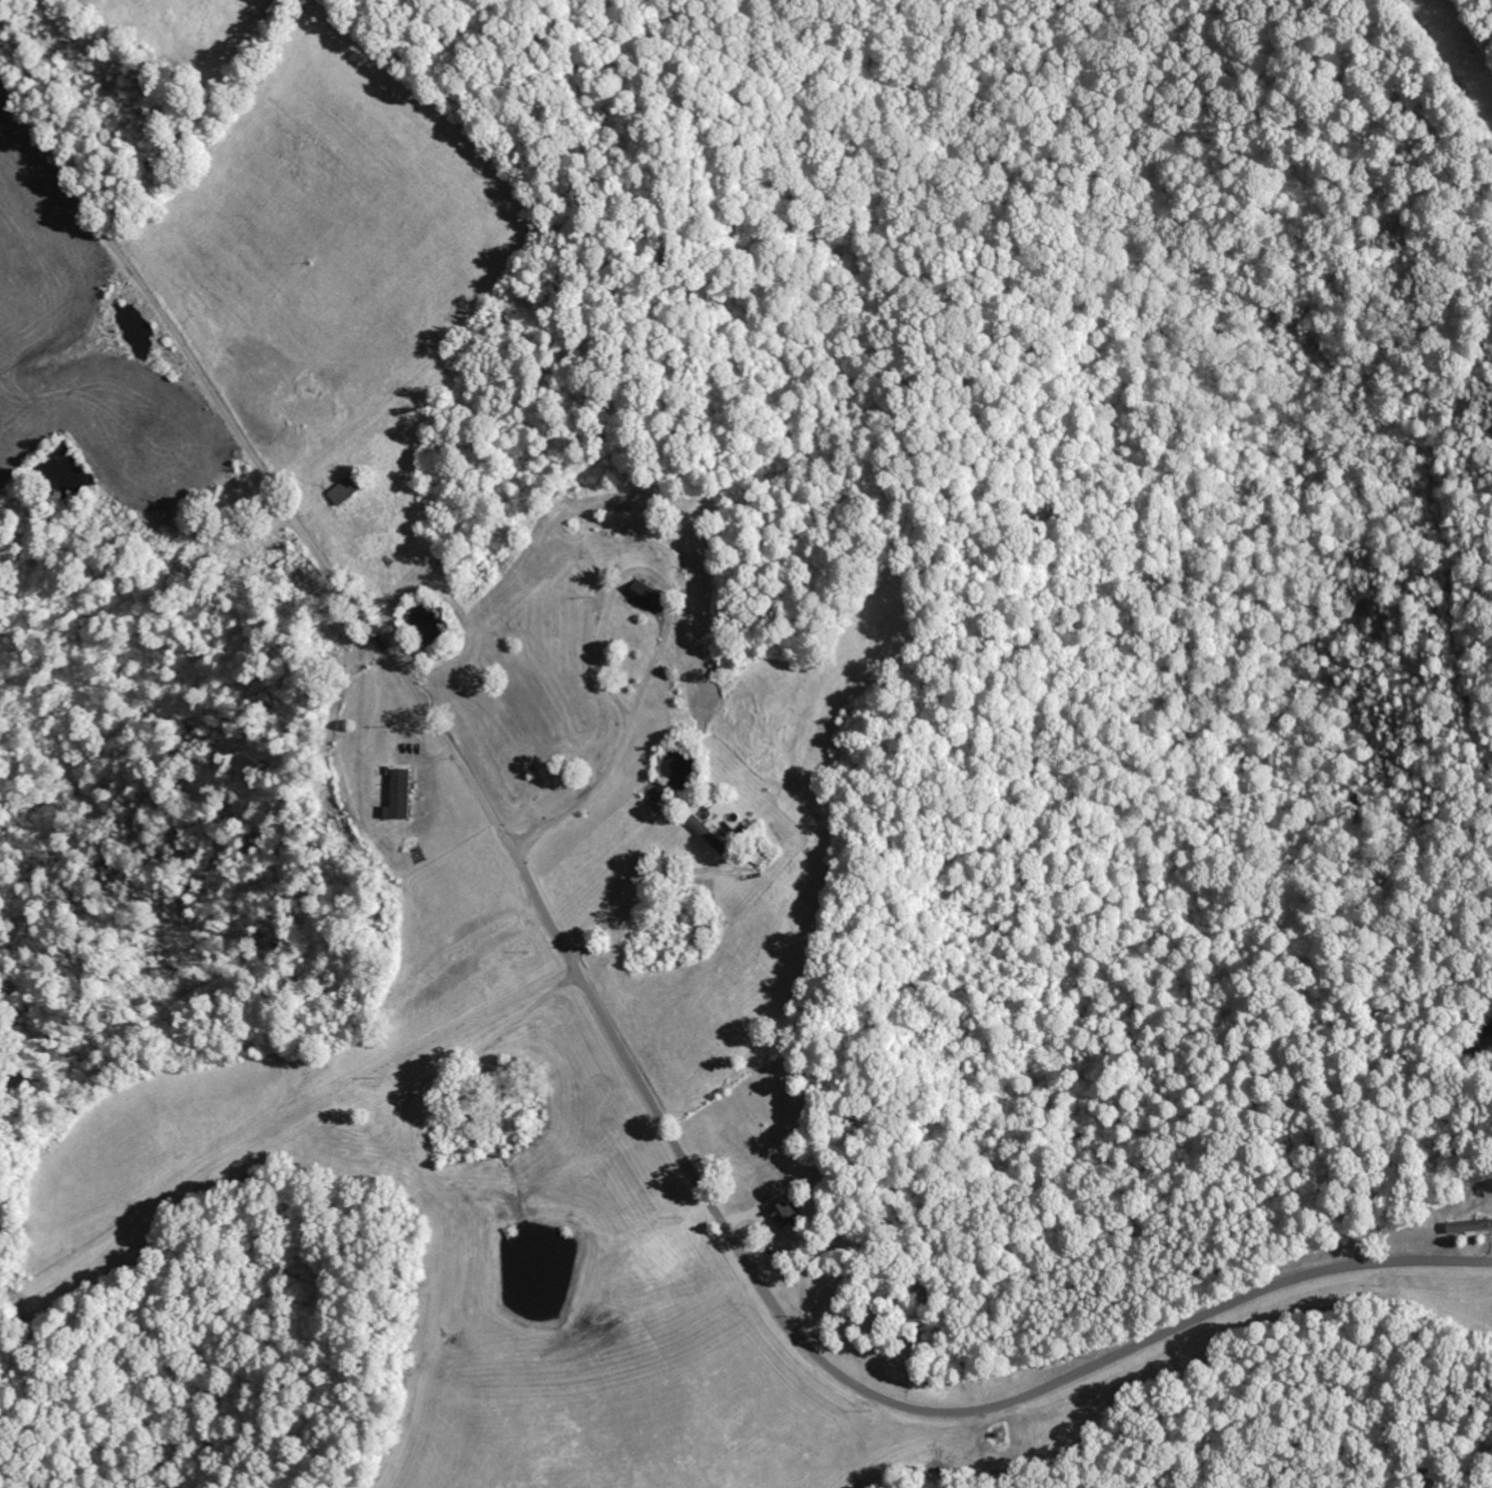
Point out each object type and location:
building: (645, 594)
road: (665, 635)
building: (399, 794)
building: (710, 833)
building: (756, 853)
road: (640, 887)
building: (787, 1213)
building: (1470, 1226)
building: (659, 1254)
road: (445, 1271)
road: (772, 1301)

